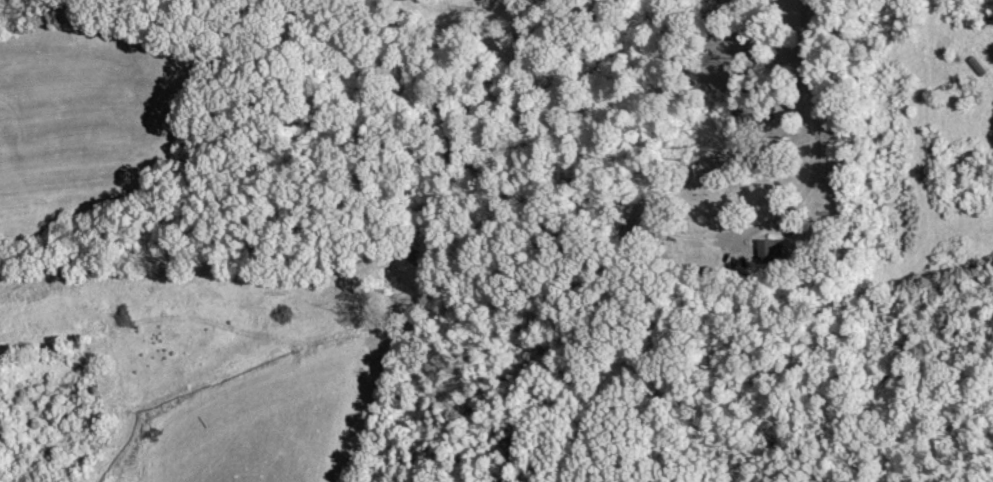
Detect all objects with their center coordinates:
road: (814, 129)
building: (771, 251)

